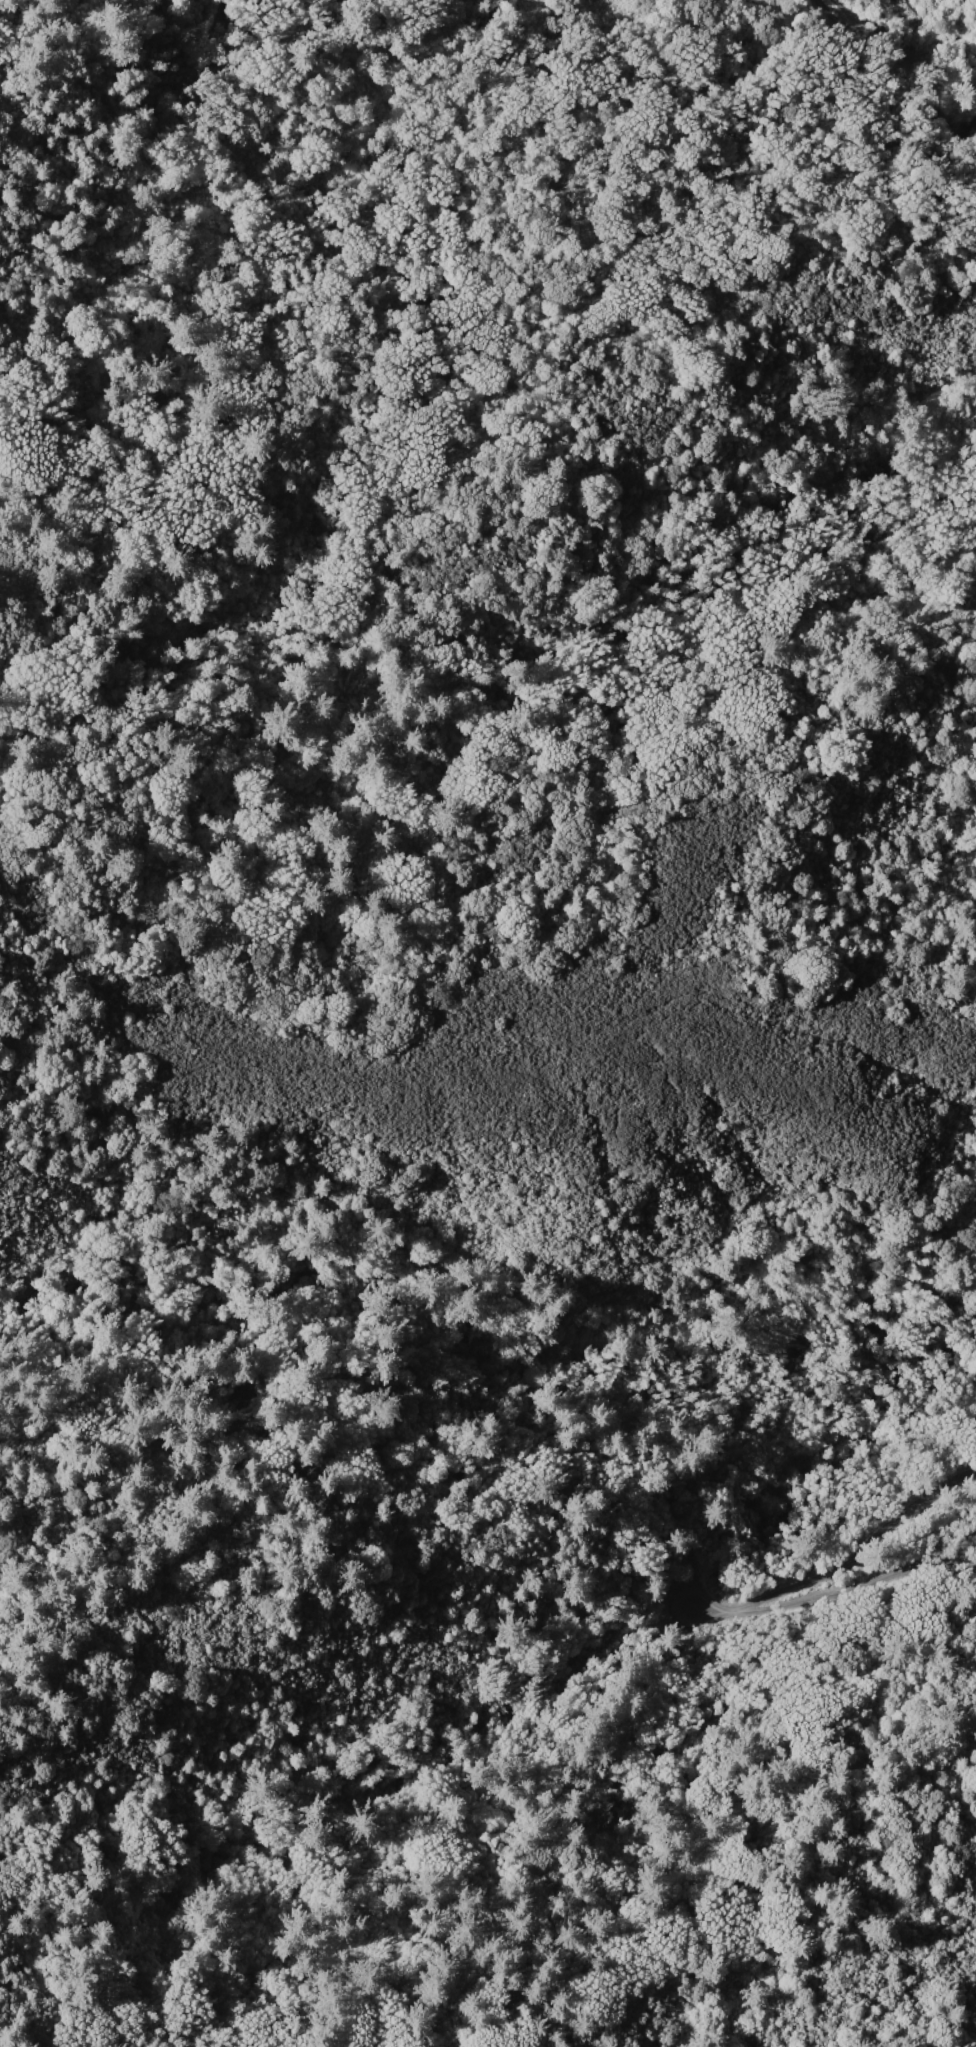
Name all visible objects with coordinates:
road: (959, 27)
road: (818, 1573)
road: (752, 1603)

